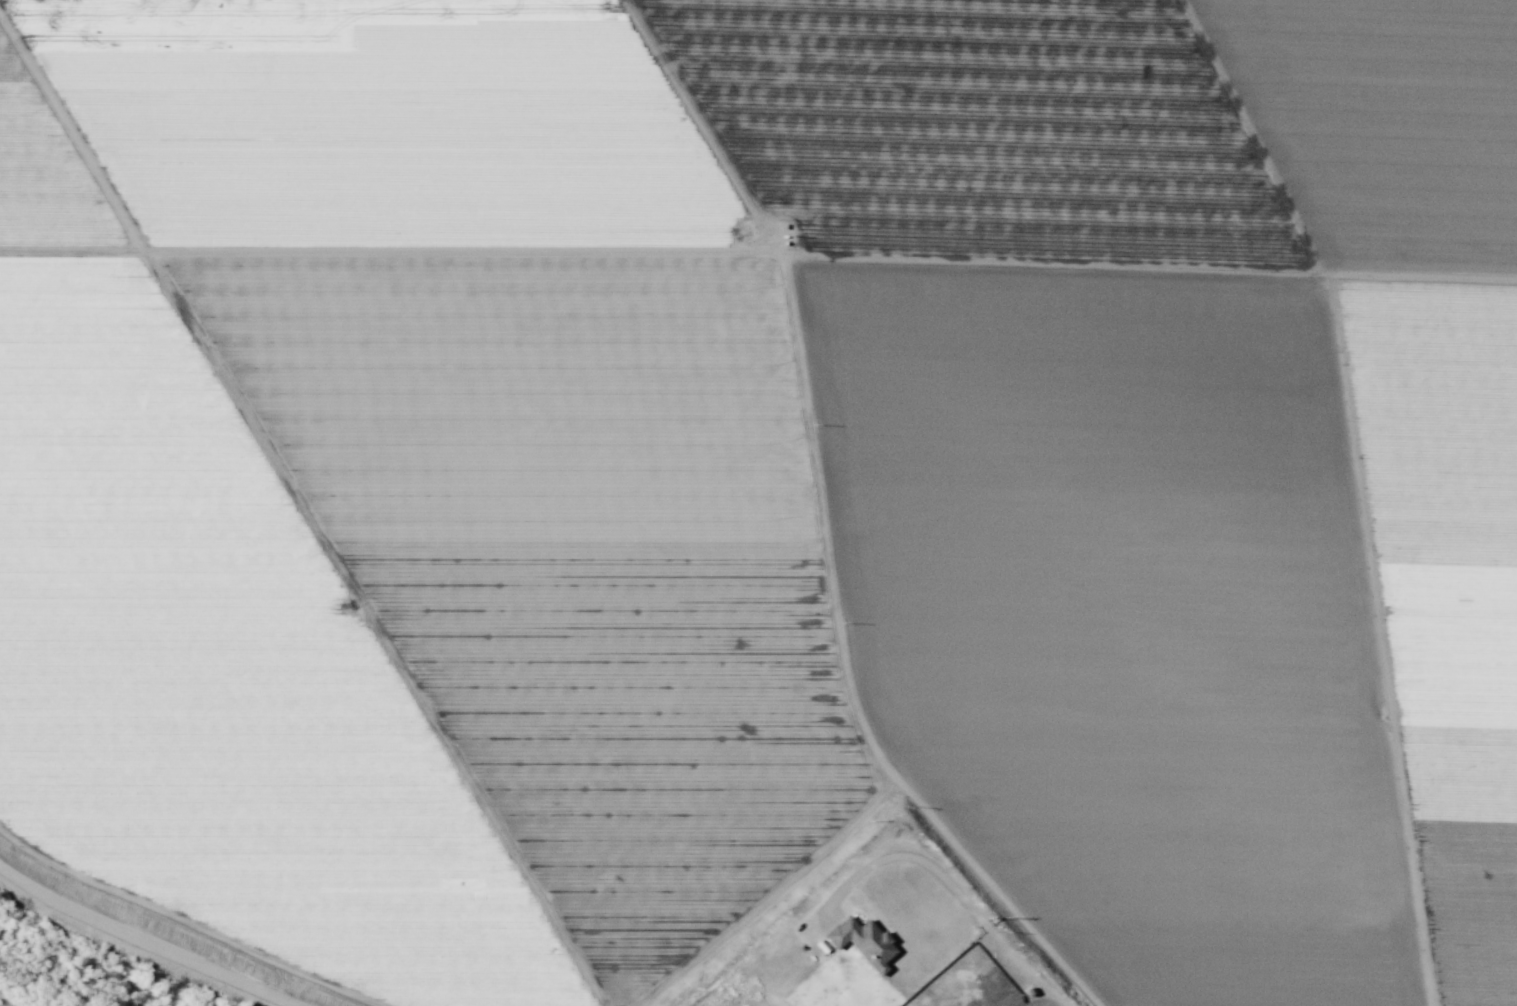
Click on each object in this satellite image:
crop: (765, 475)
road: (996, 922)
building: (861, 941)

